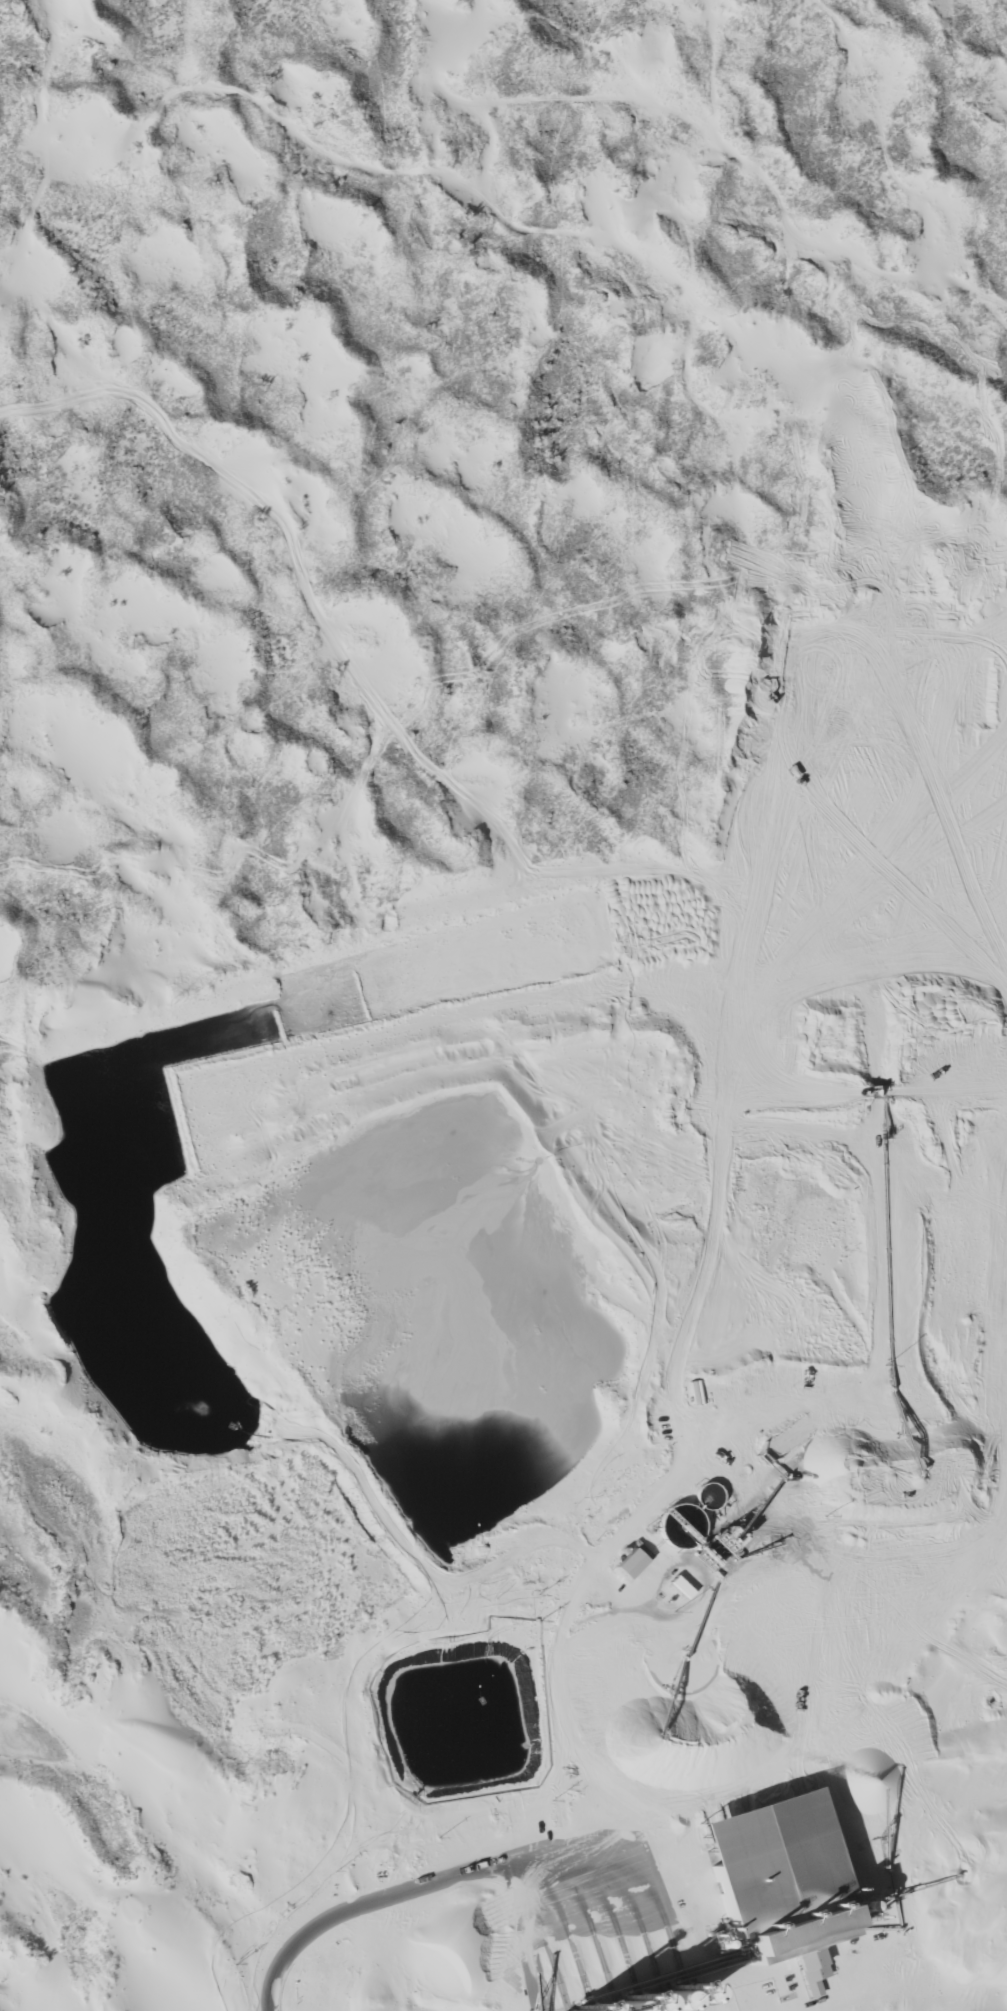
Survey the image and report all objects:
building: (630, 1564)
building: (813, 1970)

